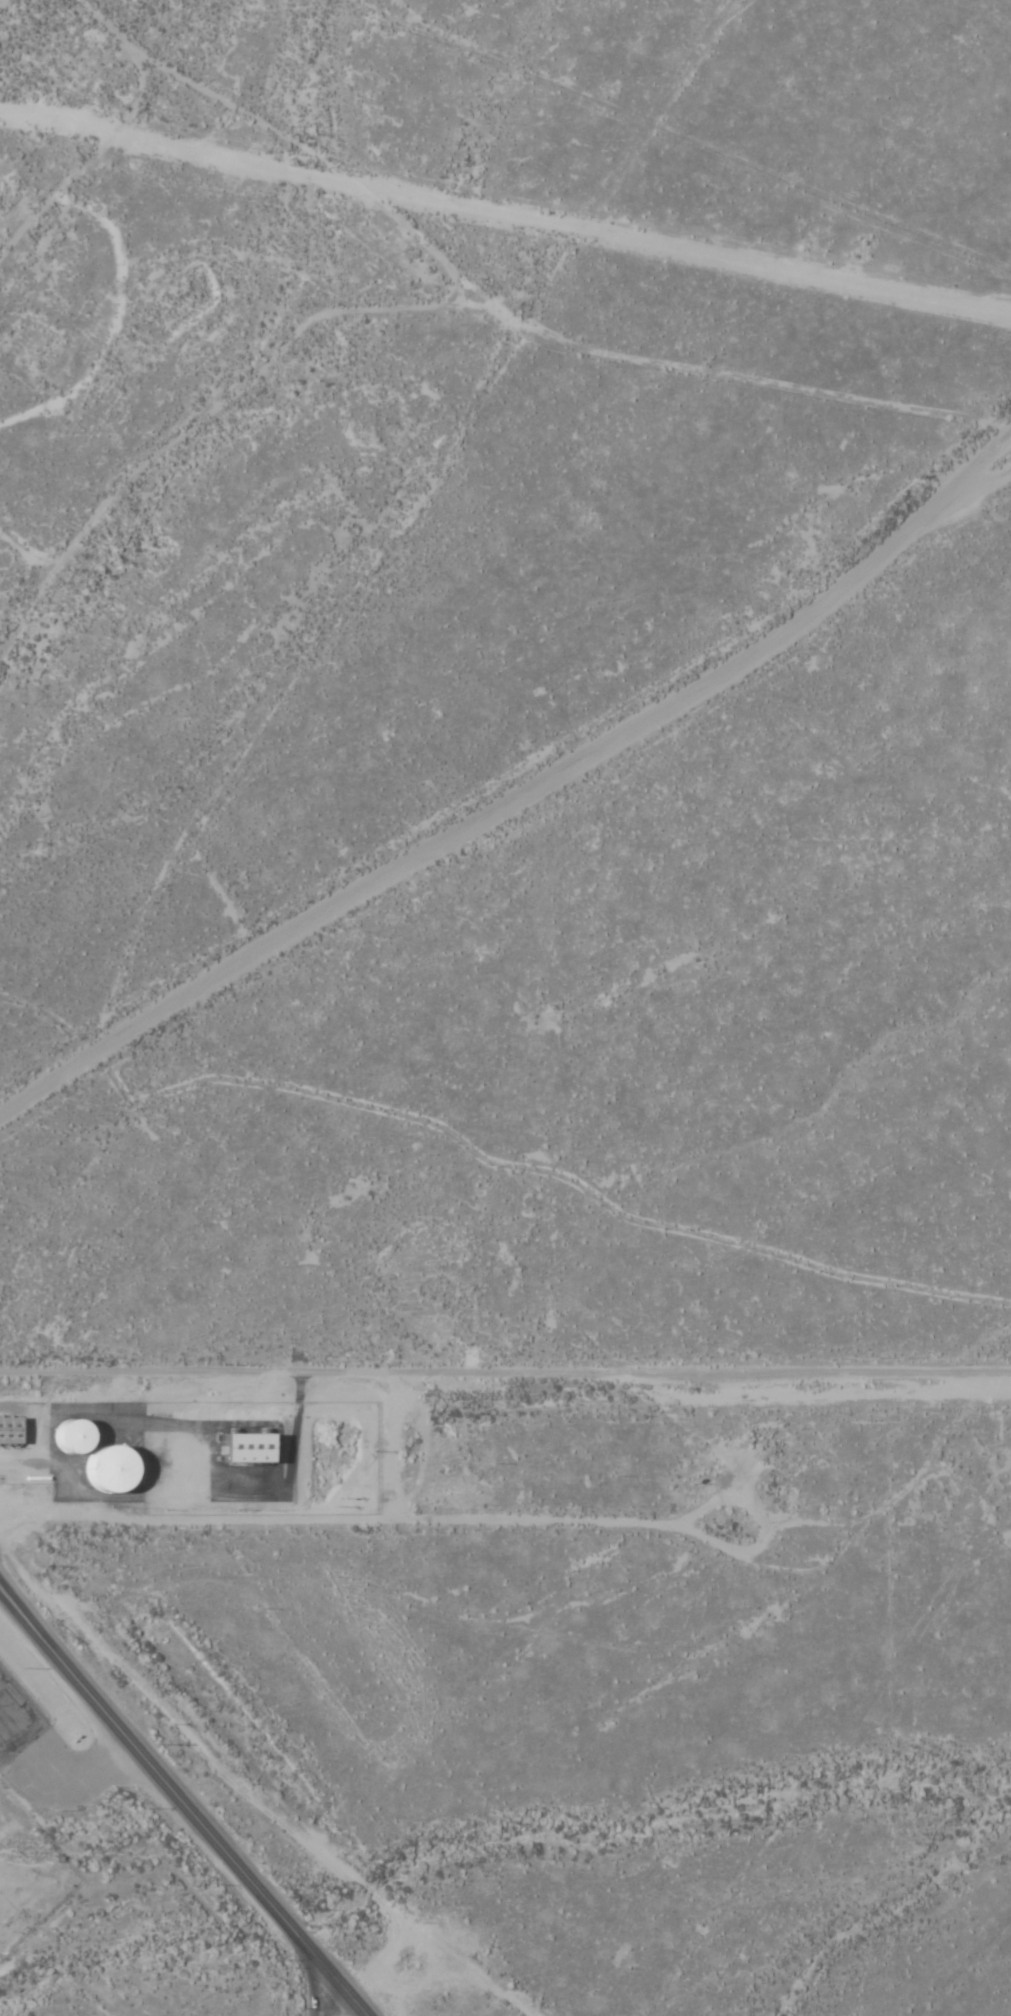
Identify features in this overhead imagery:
road: (505, 821)
road: (505, 1381)
building: (8, 1431)
building: (70, 1438)
building: (243, 1449)
building: (103, 1469)
road: (170, 1819)
road: (323, 2007)

